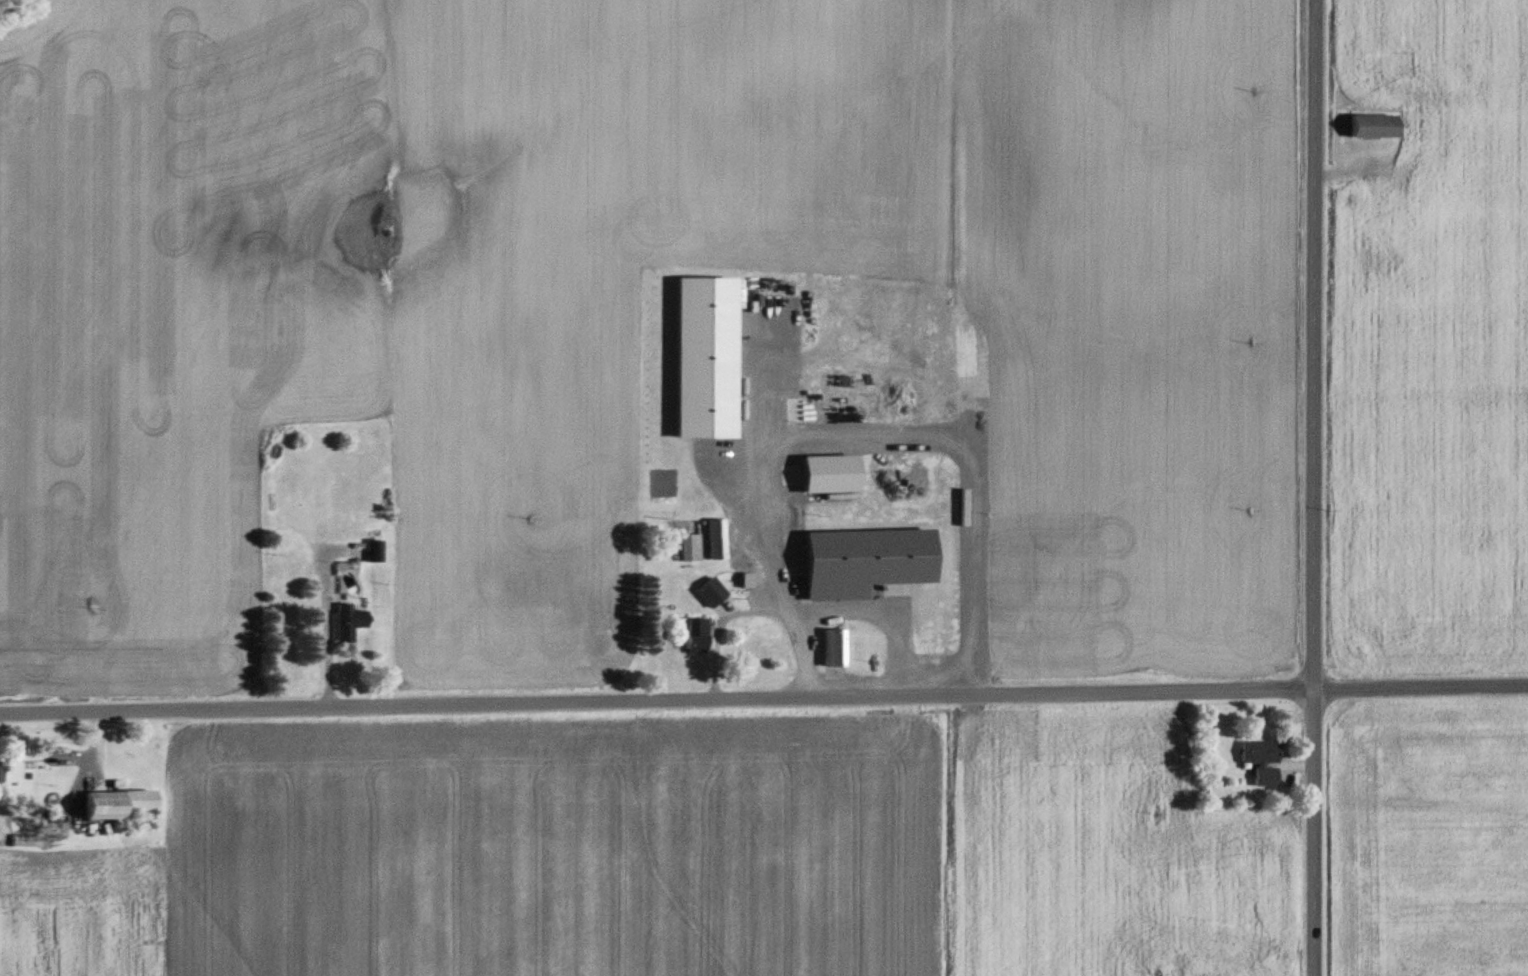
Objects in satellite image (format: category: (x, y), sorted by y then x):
building: (1375, 125)
road: (1308, 487)
building: (718, 540)
building: (376, 545)
building: (692, 548)
building: (868, 561)
building: (712, 593)
road: (741, 603)
road: (868, 609)
building: (350, 622)
road: (309, 630)
building: (698, 637)
building: (835, 648)
road: (764, 698)
building: (1263, 761)
building: (1, 768)
building: (119, 804)

